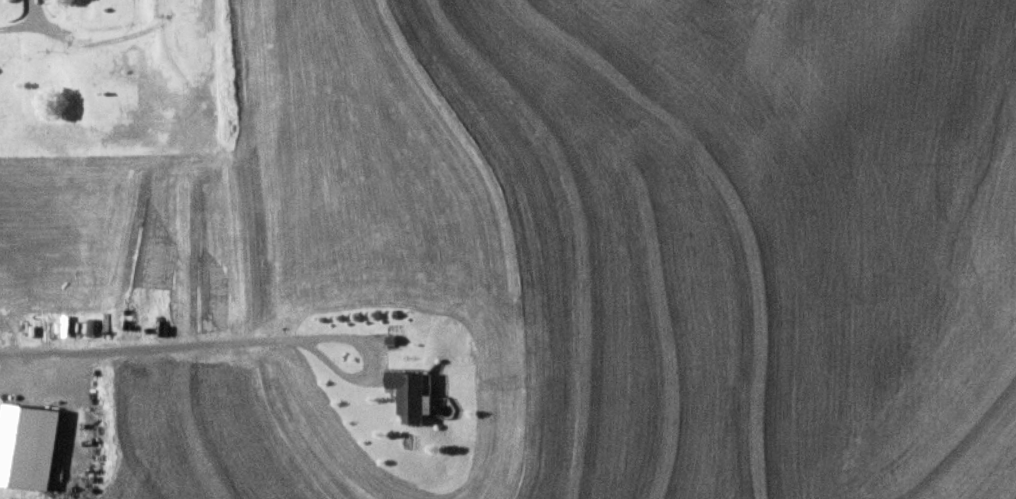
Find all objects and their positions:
road: (27, 27)
road: (18, 363)
building: (410, 391)
building: (29, 446)

